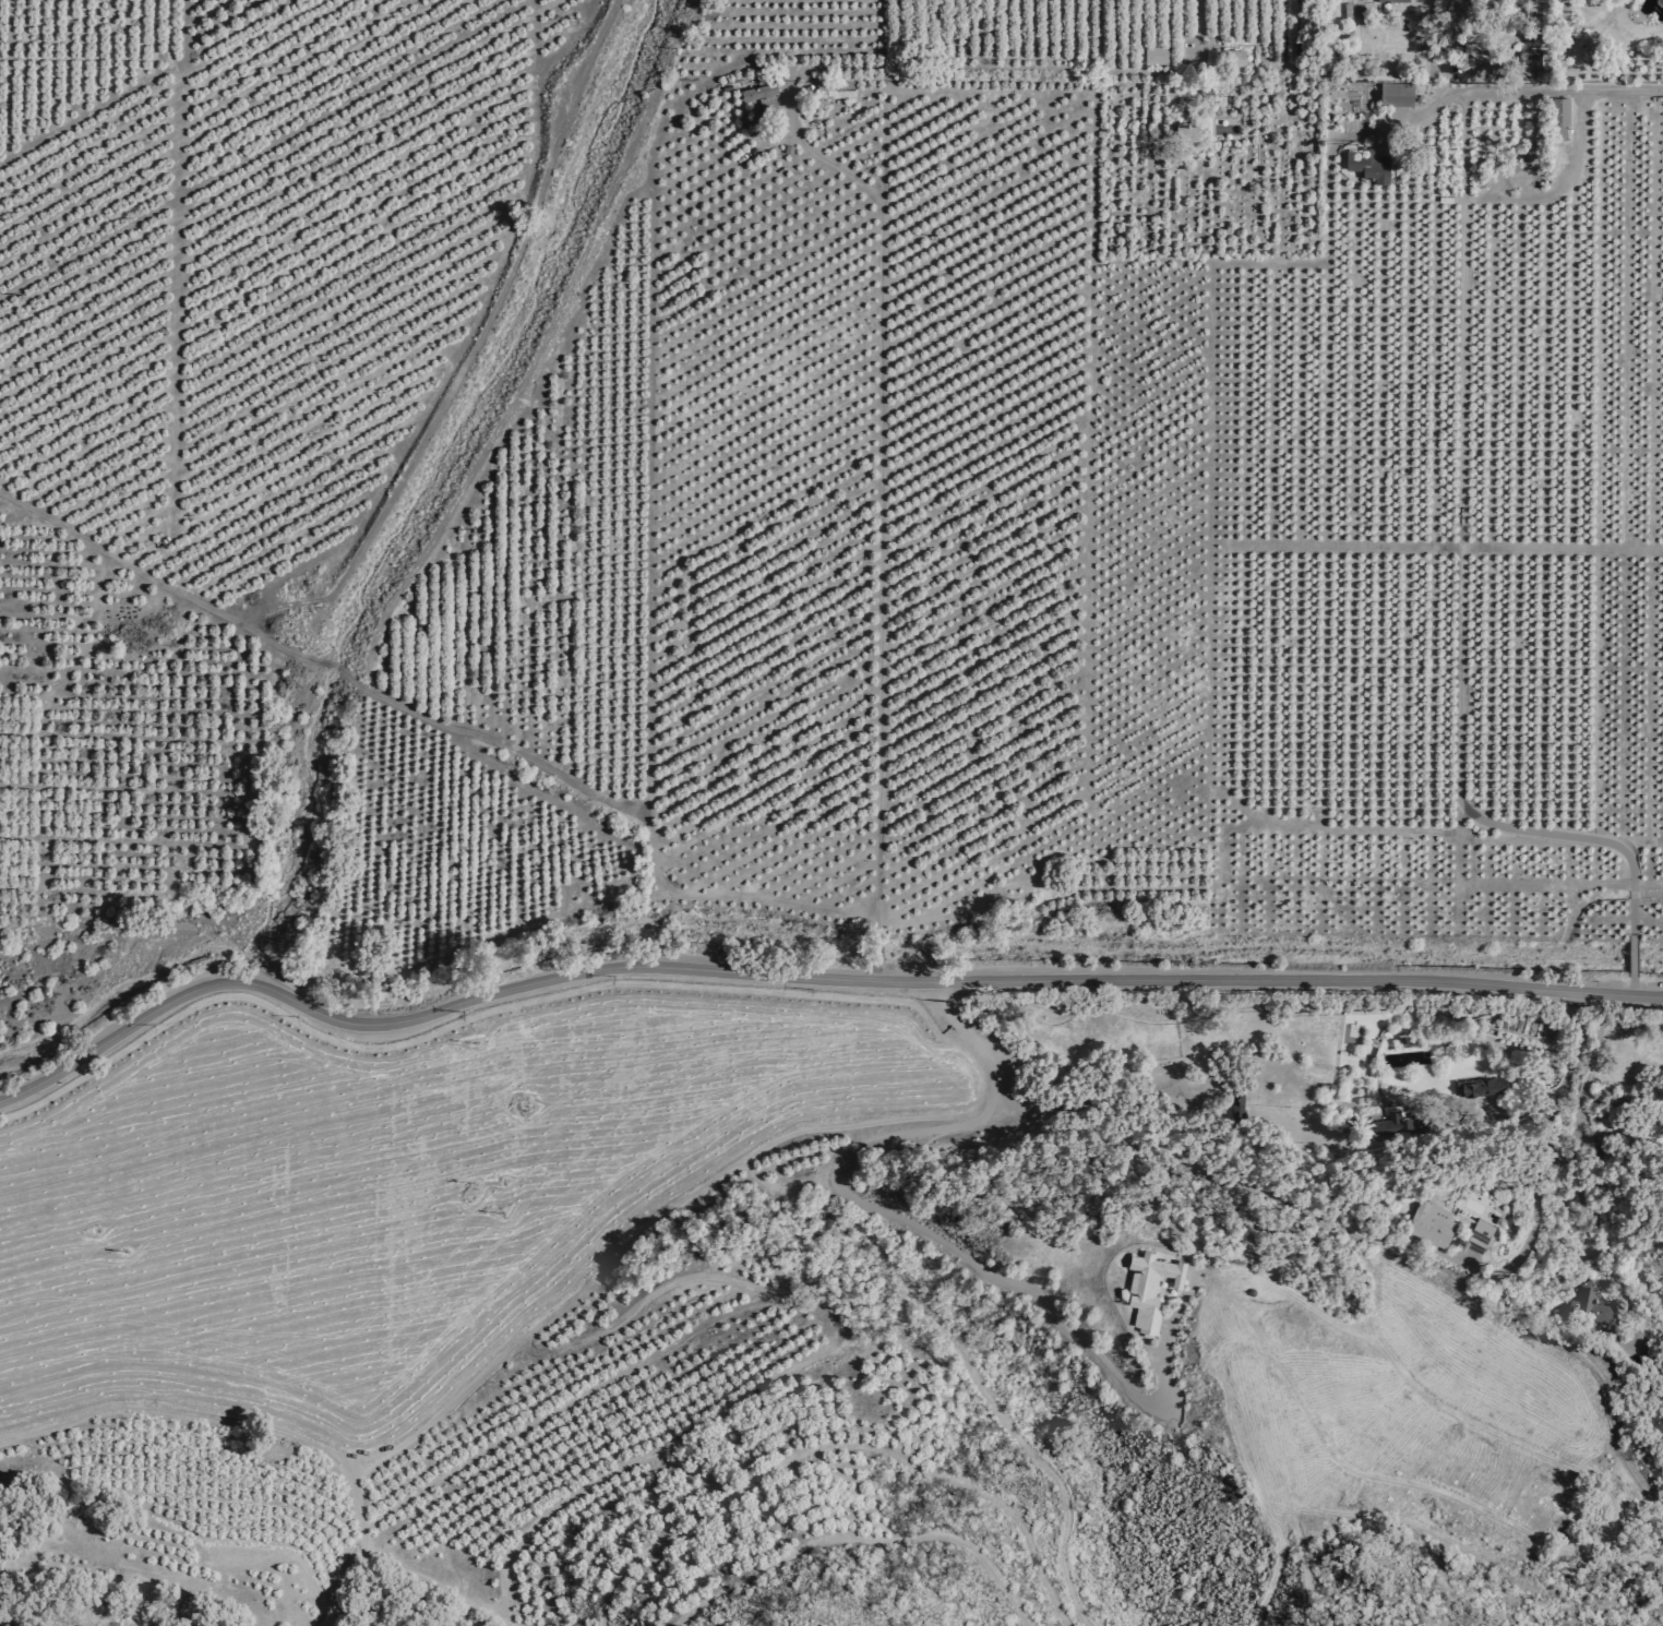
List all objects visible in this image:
building: (1393, 1)
road: (1205, 22)
building: (1591, 49)
building: (1157, 53)
building: (1237, 58)
building: (1531, 60)
building: (836, 88)
road: (1559, 89)
building: (759, 91)
building: (1398, 94)
building: (1562, 118)
building: (1193, 127)
building: (1371, 164)
road: (176, 223)
road: (883, 501)
road: (1458, 505)
road: (444, 727)
road: (876, 946)
road: (1629, 958)
road: (874, 975)
road: (805, 980)
road: (1629, 988)
building: (1485, 1088)
road: (907, 1223)
building: (1433, 1224)
road: (633, 1233)
building: (1481, 1235)
road: (1379, 1248)
building: (1151, 1288)
building: (1589, 1308)
road: (295, 1437)
road: (643, 1446)
road: (864, 1537)
road: (1303, 1553)
road: (1277, 1561)

